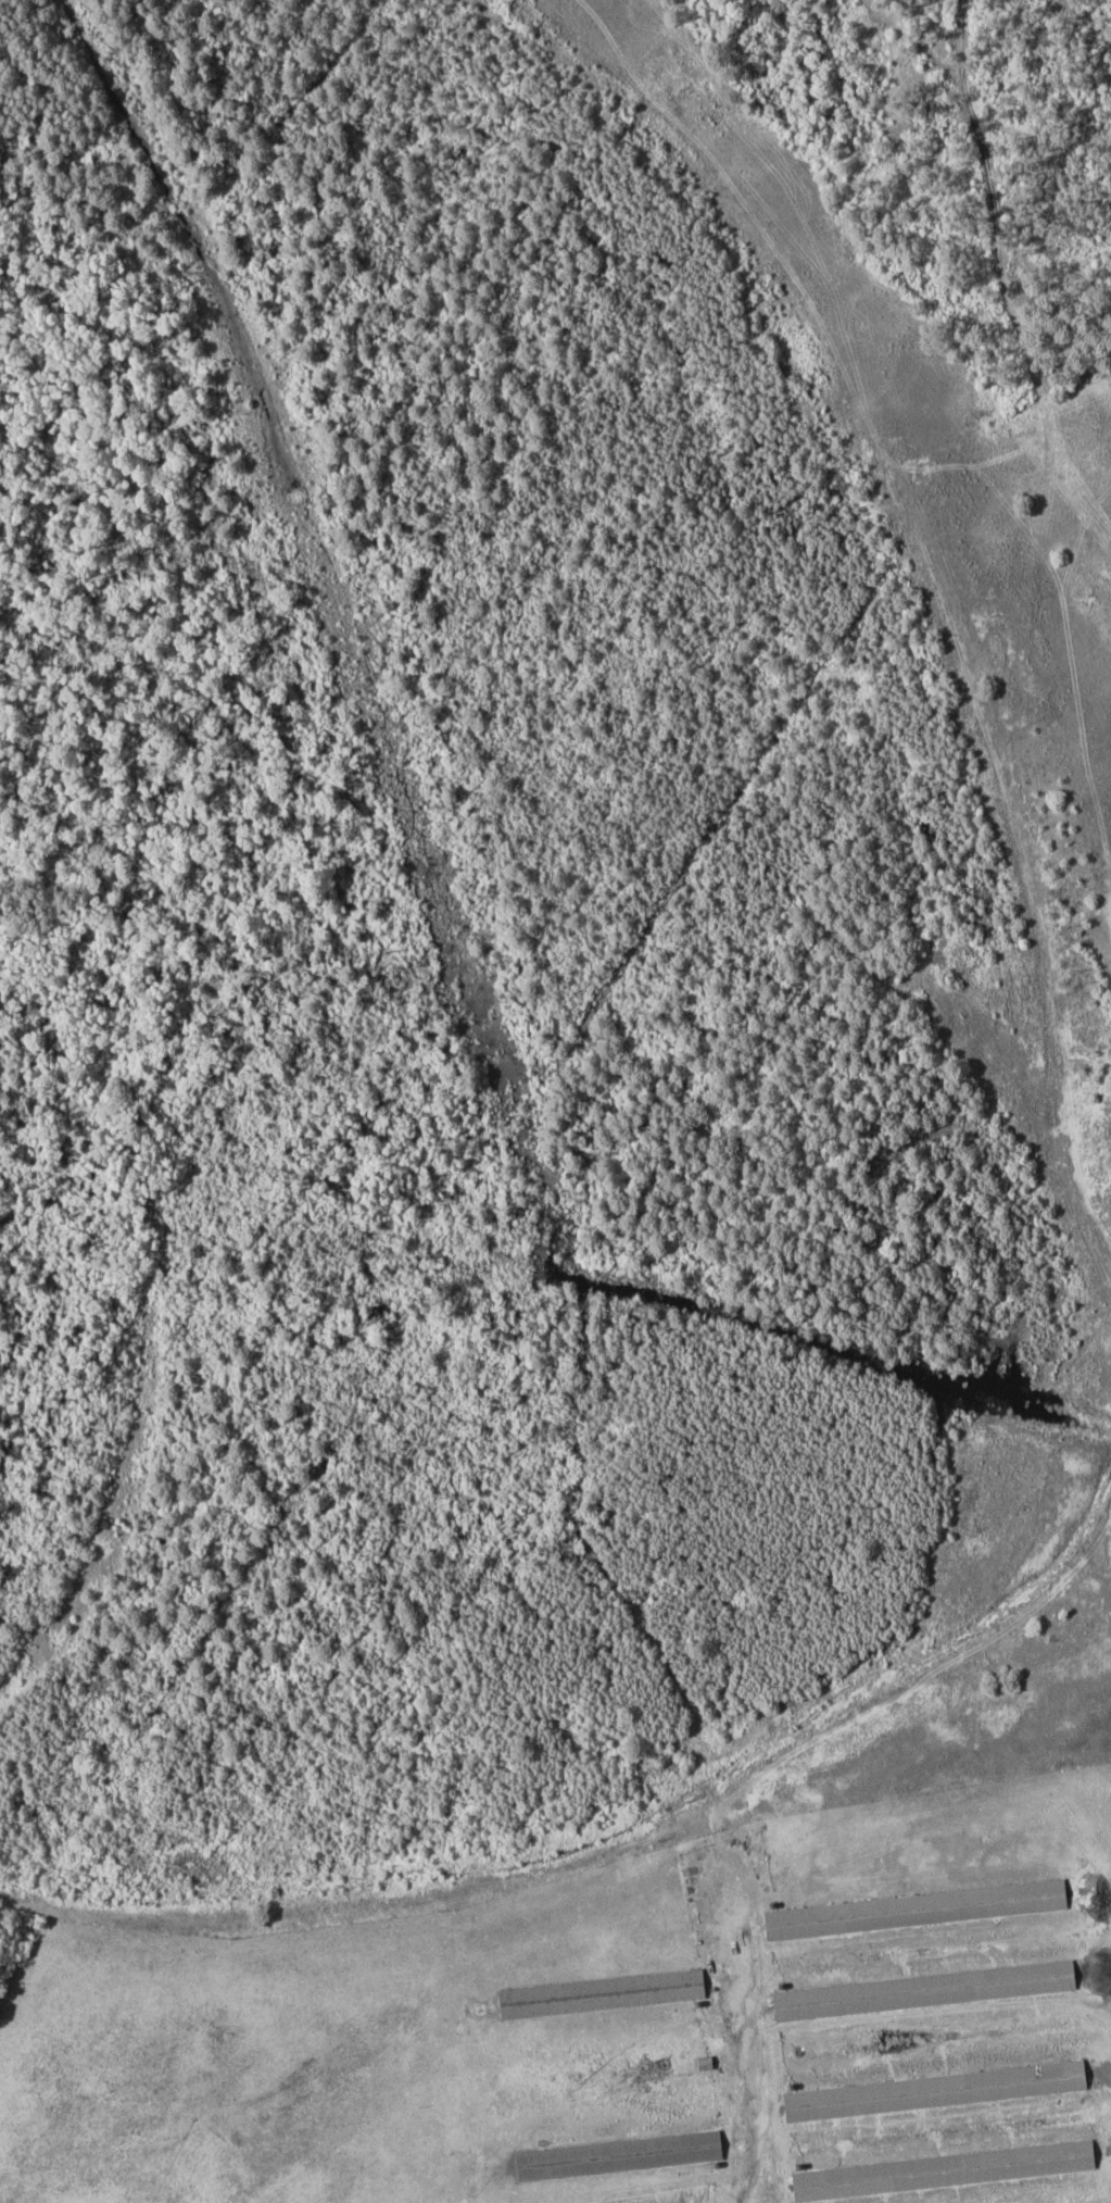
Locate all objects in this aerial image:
building: (916, 1908)
building: (924, 1989)
building: (602, 1993)
building: (935, 2090)
building: (619, 2154)
building: (943, 2169)

